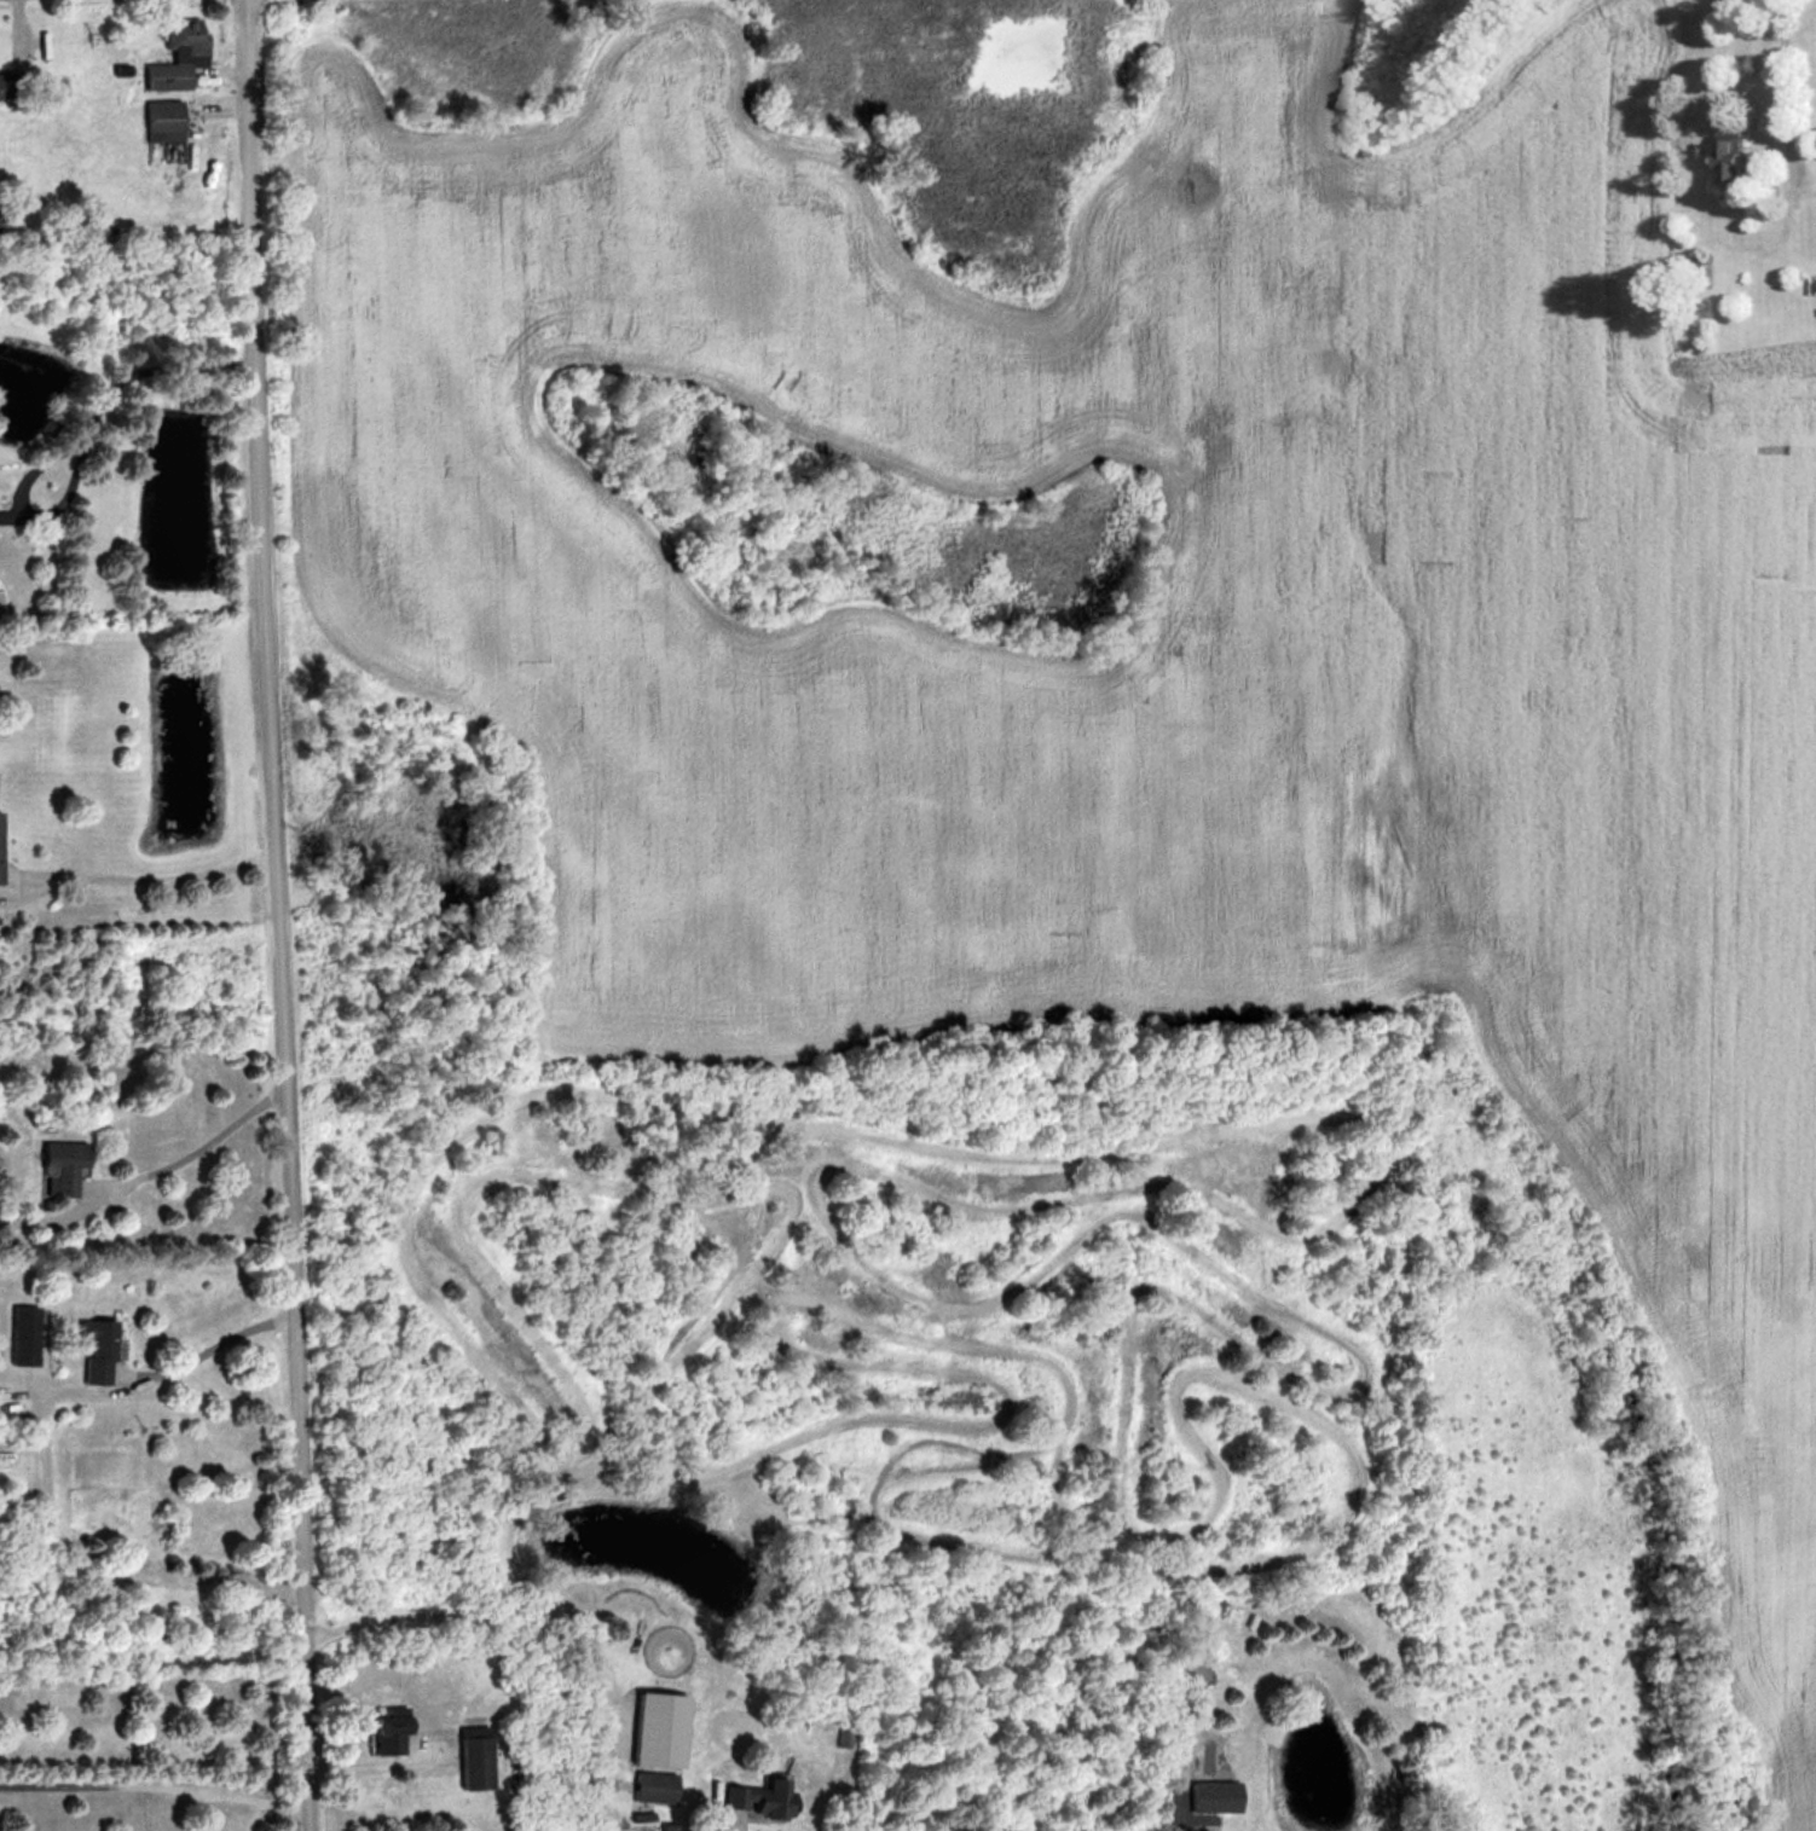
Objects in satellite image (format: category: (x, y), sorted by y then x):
road: (18, 34)
building: (183, 36)
building: (120, 70)
road: (219, 75)
building: (164, 76)
building: (12, 86)
road: (1782, 86)
road: (215, 111)
building: (161, 121)
building: (1730, 157)
building: (5, 215)
road: (154, 879)
road: (282, 915)
road: (179, 1160)
building: (60, 1165)
building: (96, 1349)
road: (42, 1464)
building: (1185, 1669)
building: (386, 1733)
building: (472, 1762)
road: (160, 1786)
building: (652, 1786)
building: (1215, 1795)
building: (757, 1798)

